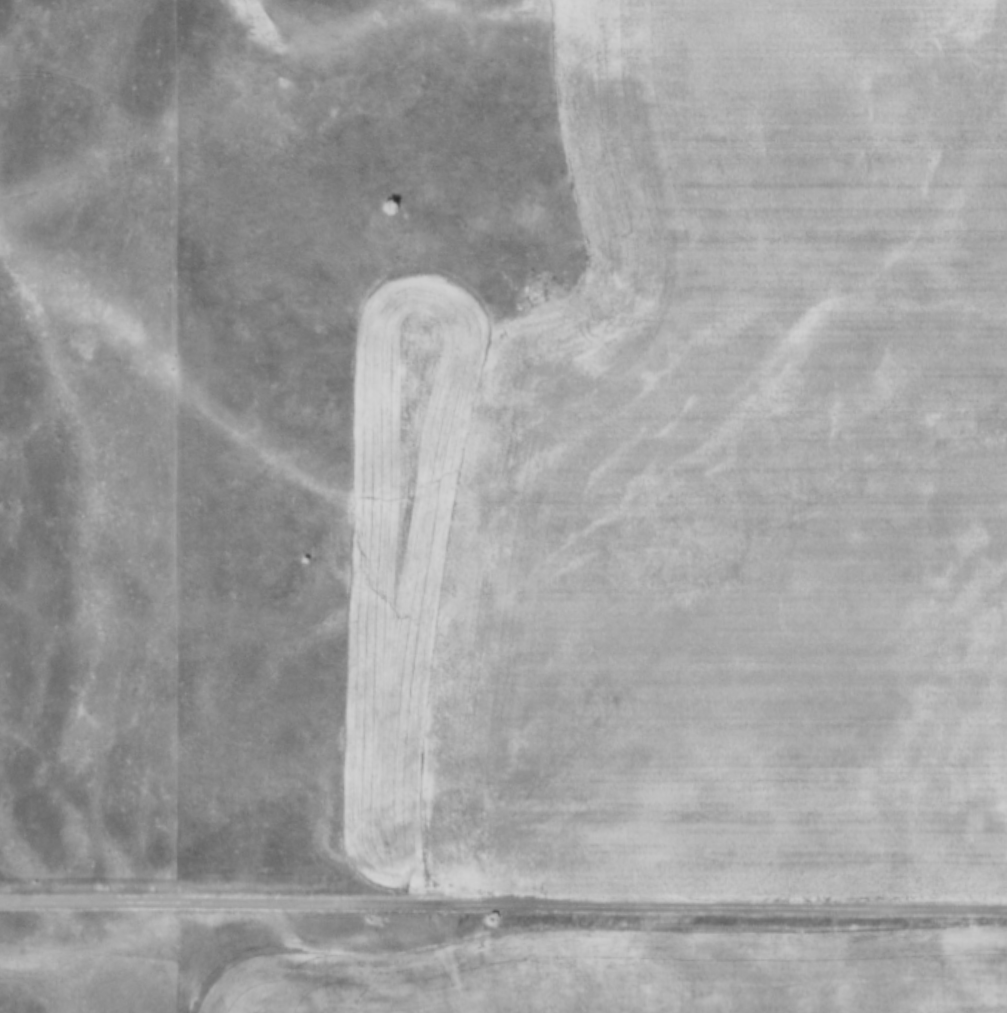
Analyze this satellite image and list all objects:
road: (503, 906)

